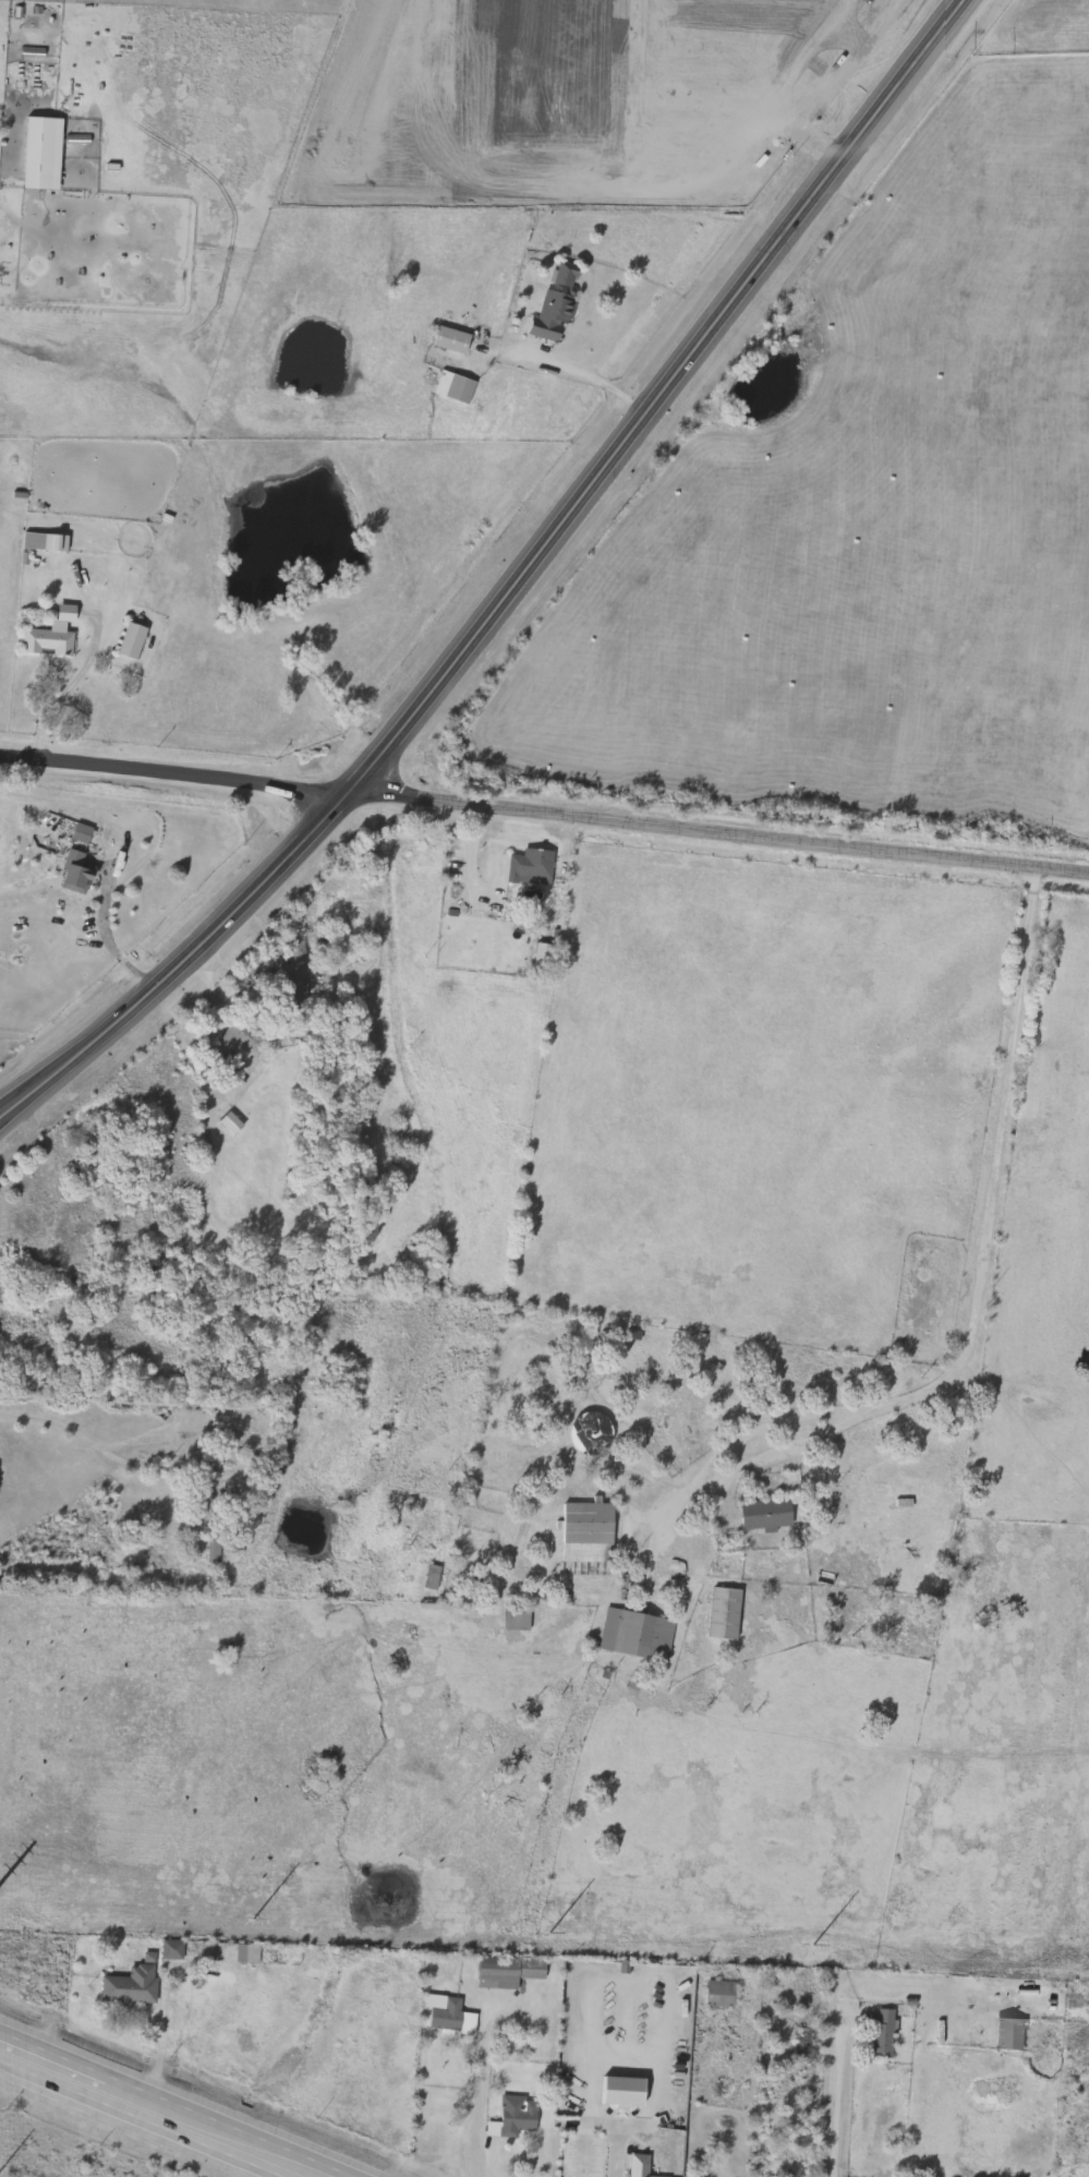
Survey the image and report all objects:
building: (44, 155)
building: (557, 306)
building: (451, 342)
road: (596, 375)
building: (455, 389)
building: (47, 543)
road: (509, 588)
building: (66, 614)
building: (134, 642)
building: (49, 644)
road: (70, 688)
road: (169, 768)
road: (717, 831)
building: (83, 834)
building: (77, 876)
road: (109, 943)
building: (295, 977)
road: (209, 996)
building: (239, 1038)
road: (4, 1120)
building: (291, 1189)
building: (529, 1243)
road: (978, 1301)
road: (52, 1423)
road: (770, 1427)
building: (591, 1434)
building: (241, 1439)
road: (181, 1455)
building: (221, 1495)
building: (766, 1517)
building: (588, 1533)
building: (214, 1552)
building: (487, 1577)
building: (434, 1579)
building: (725, 1615)
building: (518, 1620)
building: (638, 1637)
building: (174, 1951)
building: (239, 1956)
building: (508, 1974)
building: (134, 1985)
building: (721, 1997)
building: (449, 2018)
building: (884, 2035)
building: (1012, 2036)
road: (482, 2094)
road: (830, 2094)
road: (156, 2112)
building: (515, 2119)
road: (618, 2155)
building: (639, 2166)

